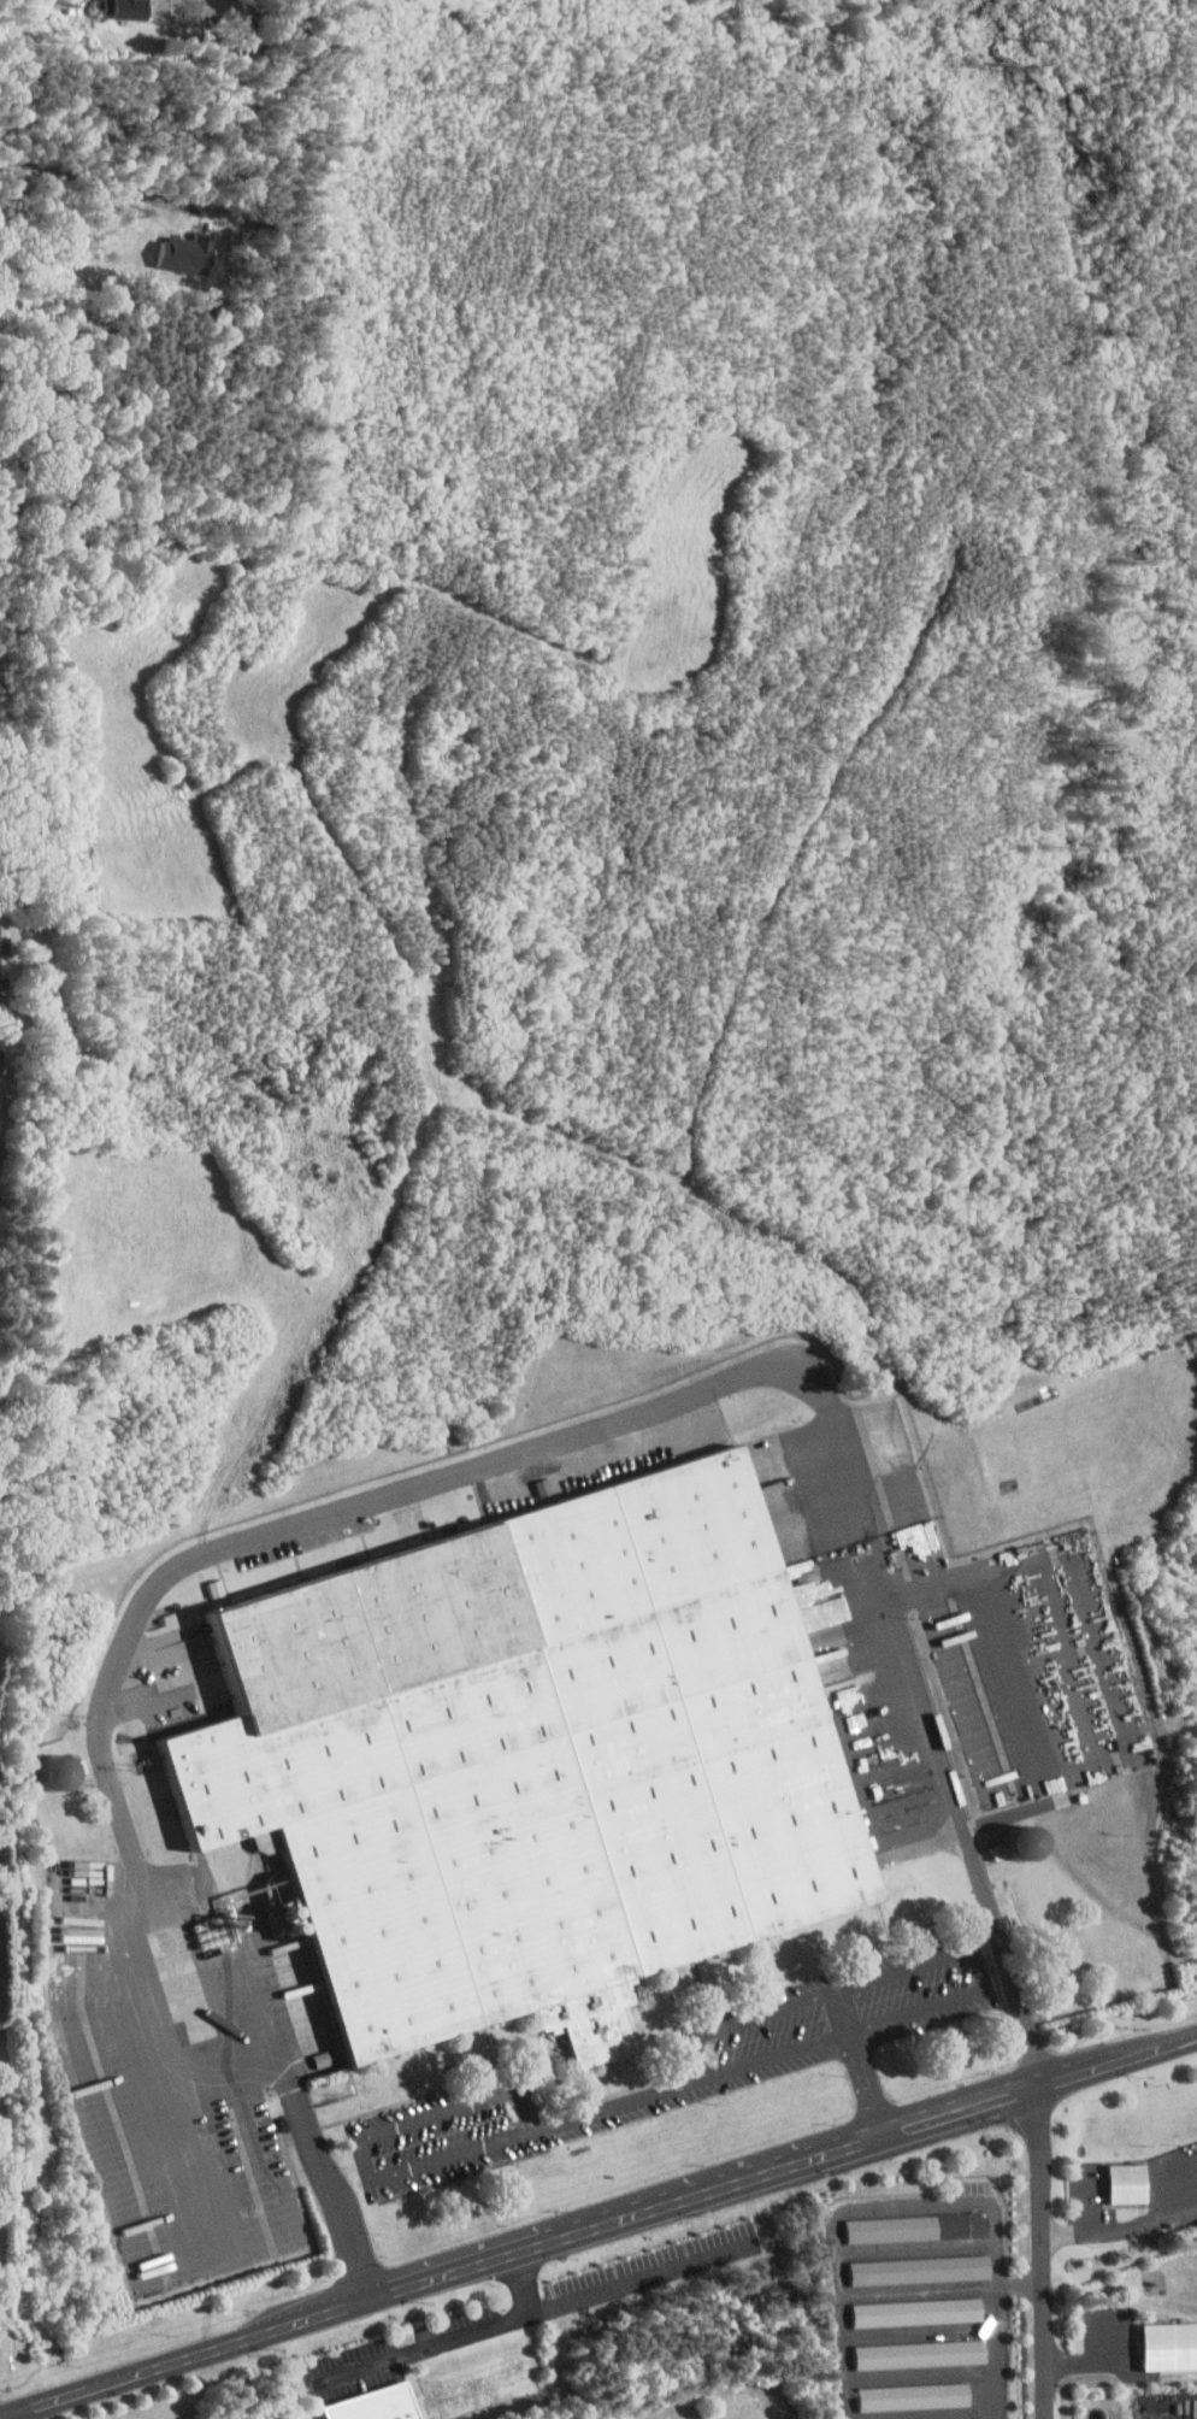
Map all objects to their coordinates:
building: (196, 8)
building: (132, 10)
road: (95, 183)
building: (188, 252)
building: (4, 942)
road: (508, 1460)
parking lot: (1019, 1648)
building: (541, 1762)
building: (65, 1772)
building: (1027, 1843)
building: (216, 1932)
road: (900, 1971)
road: (844, 2012)
road: (778, 2054)
parking lot: (750, 2068)
road: (866, 2082)
road: (620, 2103)
road: (307, 2112)
road: (360, 2141)
building: (1131, 2182)
road: (851, 2207)
road: (597, 2224)
building: (921, 2226)
road: (1127, 2226)
road: (1040, 2250)
building: (924, 2268)
road: (1019, 2284)
building: (920, 2311)
road: (458, 2341)
building: (1172, 2344)
building: (921, 2353)
road: (981, 2394)
building: (914, 2395)
building: (376, 2405)
road: (24, 2414)

